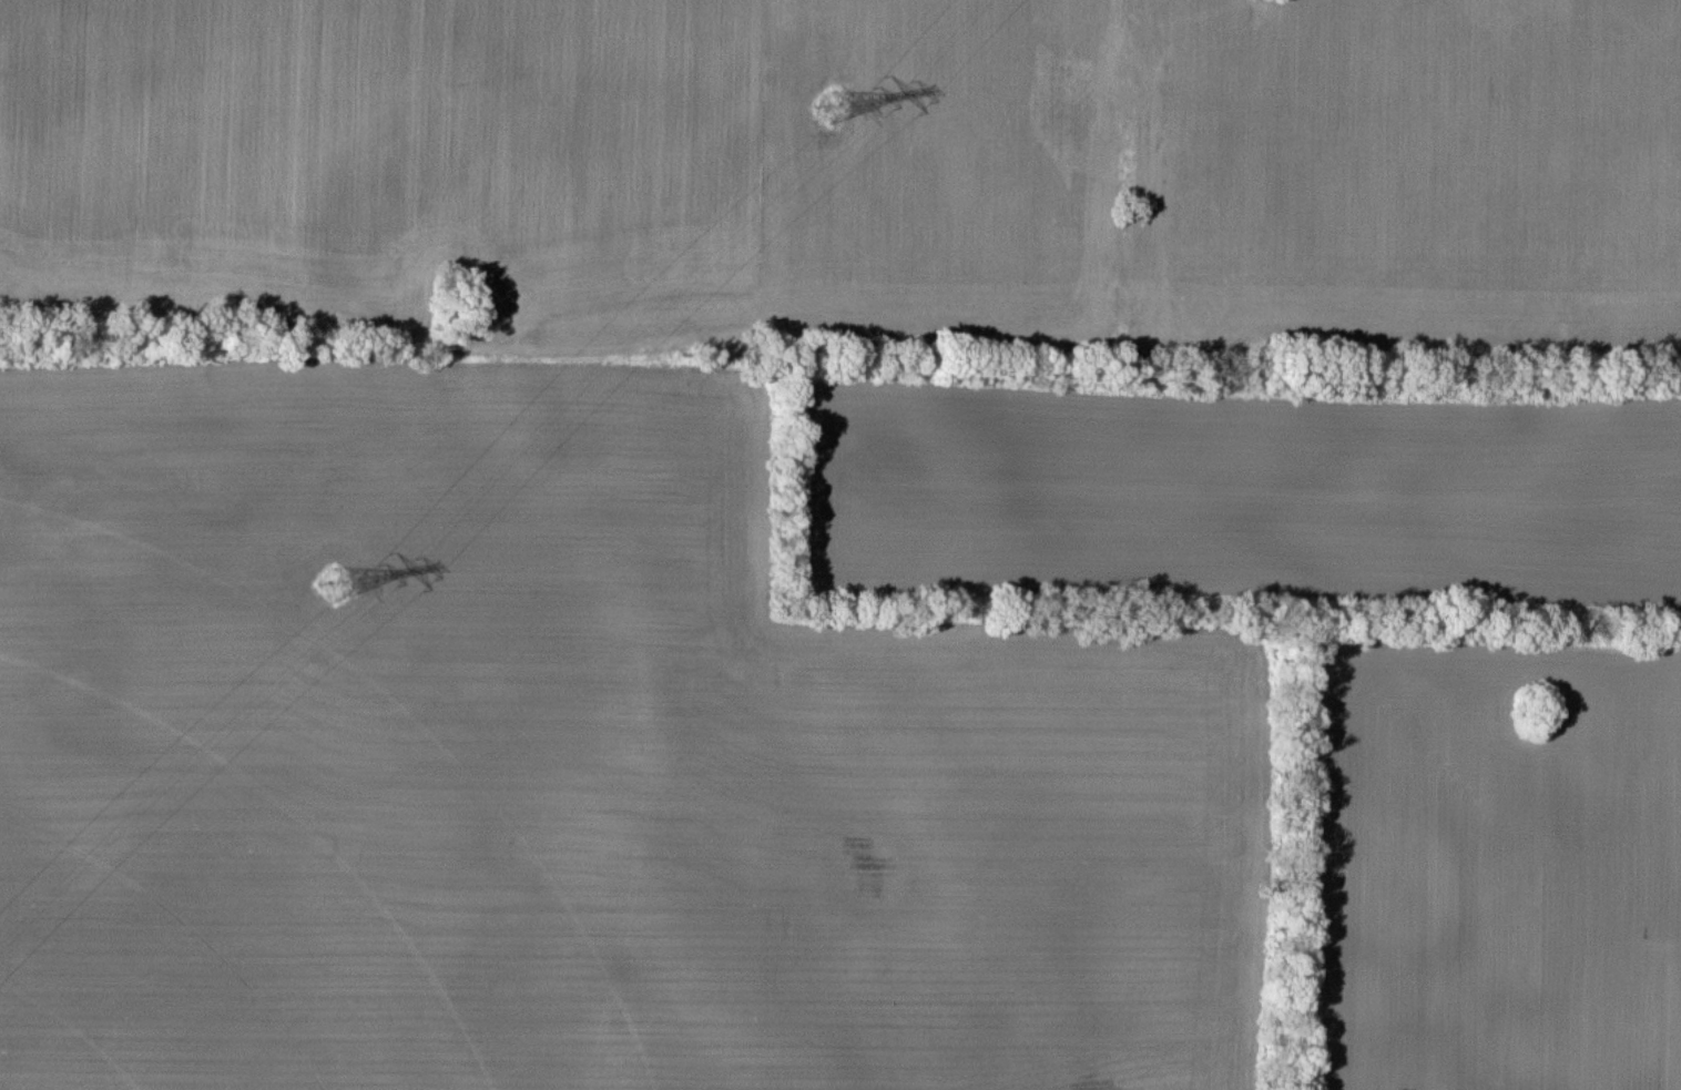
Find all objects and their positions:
power tower: (836, 104)
power tower: (342, 584)

